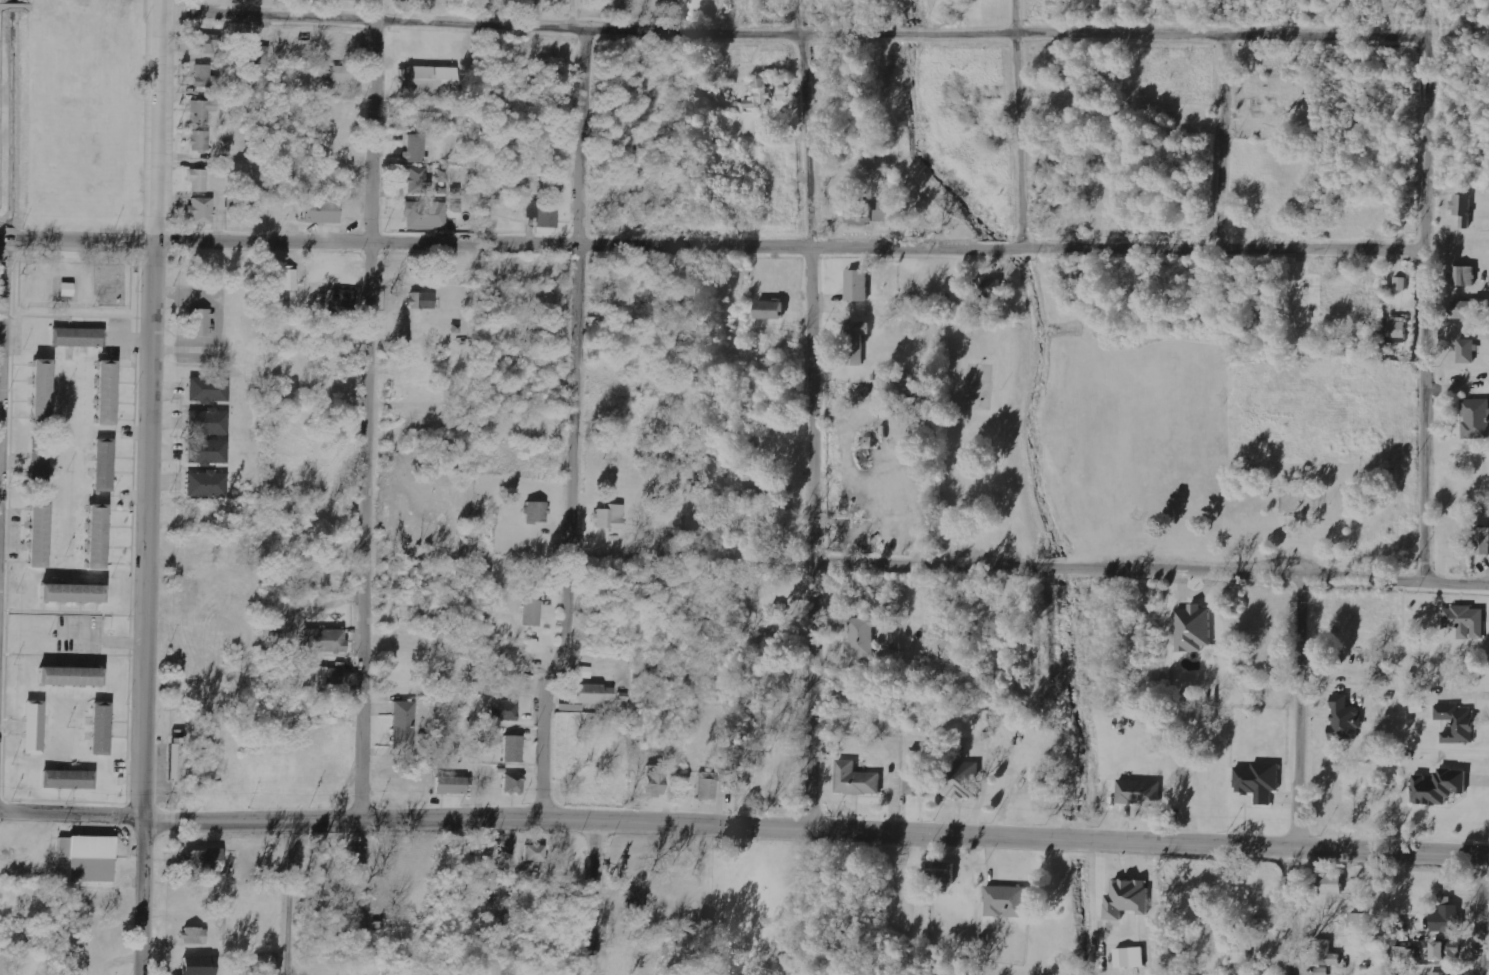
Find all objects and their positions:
building: (353, 0)
park: (582, 4)
road: (793, 34)
building: (206, 44)
building: (253, 53)
building: (344, 74)
building: (202, 76)
building: (428, 79)
building: (759, 94)
park: (72, 109)
building: (202, 111)
building: (421, 112)
road: (1019, 122)
road: (1224, 138)
building: (200, 141)
building: (415, 149)
building: (198, 180)
building: (417, 181)
building: (551, 187)
building: (1463, 209)
building: (201, 211)
building: (322, 212)
building: (543, 213)
building: (857, 213)
building: (425, 215)
building: (881, 215)
road: (711, 243)
building: (1465, 276)
building: (289, 280)
building: (1401, 283)
building: (1372, 284)
building: (858, 285)
building: (988, 286)
building: (67, 289)
building: (422, 301)
building: (344, 302)
road: (1422, 304)
building: (1470, 308)
building: (770, 309)
building: (1368, 313)
building: (200, 322)
building: (1398, 327)
building: (76, 338)
building: (856, 341)
building: (1467, 350)
road: (3, 356)
park: (977, 384)
building: (209, 390)
building: (43, 391)
building: (107, 393)
road: (372, 411)
road: (577, 411)
road: (812, 415)
building: (1476, 418)
building: (208, 423)
park: (1173, 445)
building: (208, 452)
building: (39, 463)
building: (103, 466)
building: (207, 484)
road: (151, 487)
building: (762, 491)
building: (537, 513)
building: (610, 518)
building: (39, 536)
building: (98, 537)
building: (1482, 540)
road: (1150, 570)
building: (73, 595)
building: (532, 613)
building: (1466, 621)
building: (1194, 628)
building: (862, 637)
building: (325, 641)
building: (771, 644)
building: (531, 646)
building: (585, 672)
building: (71, 677)
building: (330, 677)
building: (593, 694)
building: (1417, 706)
building: (504, 710)
building: (1344, 719)
building: (1457, 723)
building: (404, 726)
building: (33, 728)
building: (100, 730)
building: (513, 749)
building: (178, 760)
road: (1294, 772)
building: (856, 779)
building: (67, 780)
building: (656, 781)
building: (961, 781)
building: (1259, 781)
building: (918, 783)
building: (513, 784)
building: (451, 785)
building: (1439, 786)
building: (707, 787)
building: (1139, 791)
road: (72, 811)
road: (816, 832)
building: (535, 853)
building: (89, 858)
building: (204, 862)
building: (944, 871)
building: (1332, 884)
road: (593, 898)
building: (1128, 898)
road: (284, 899)
building: (1007, 901)
building: (636, 904)
road: (1479, 915)
building: (1446, 919)
building: (1357, 922)
building: (20, 935)
building: (195, 936)
building: (1446, 951)
building: (1326, 953)
building: (1406, 954)
building: (1131, 957)
building: (199, 966)
building: (1322, 971)
building: (1442, 974)

